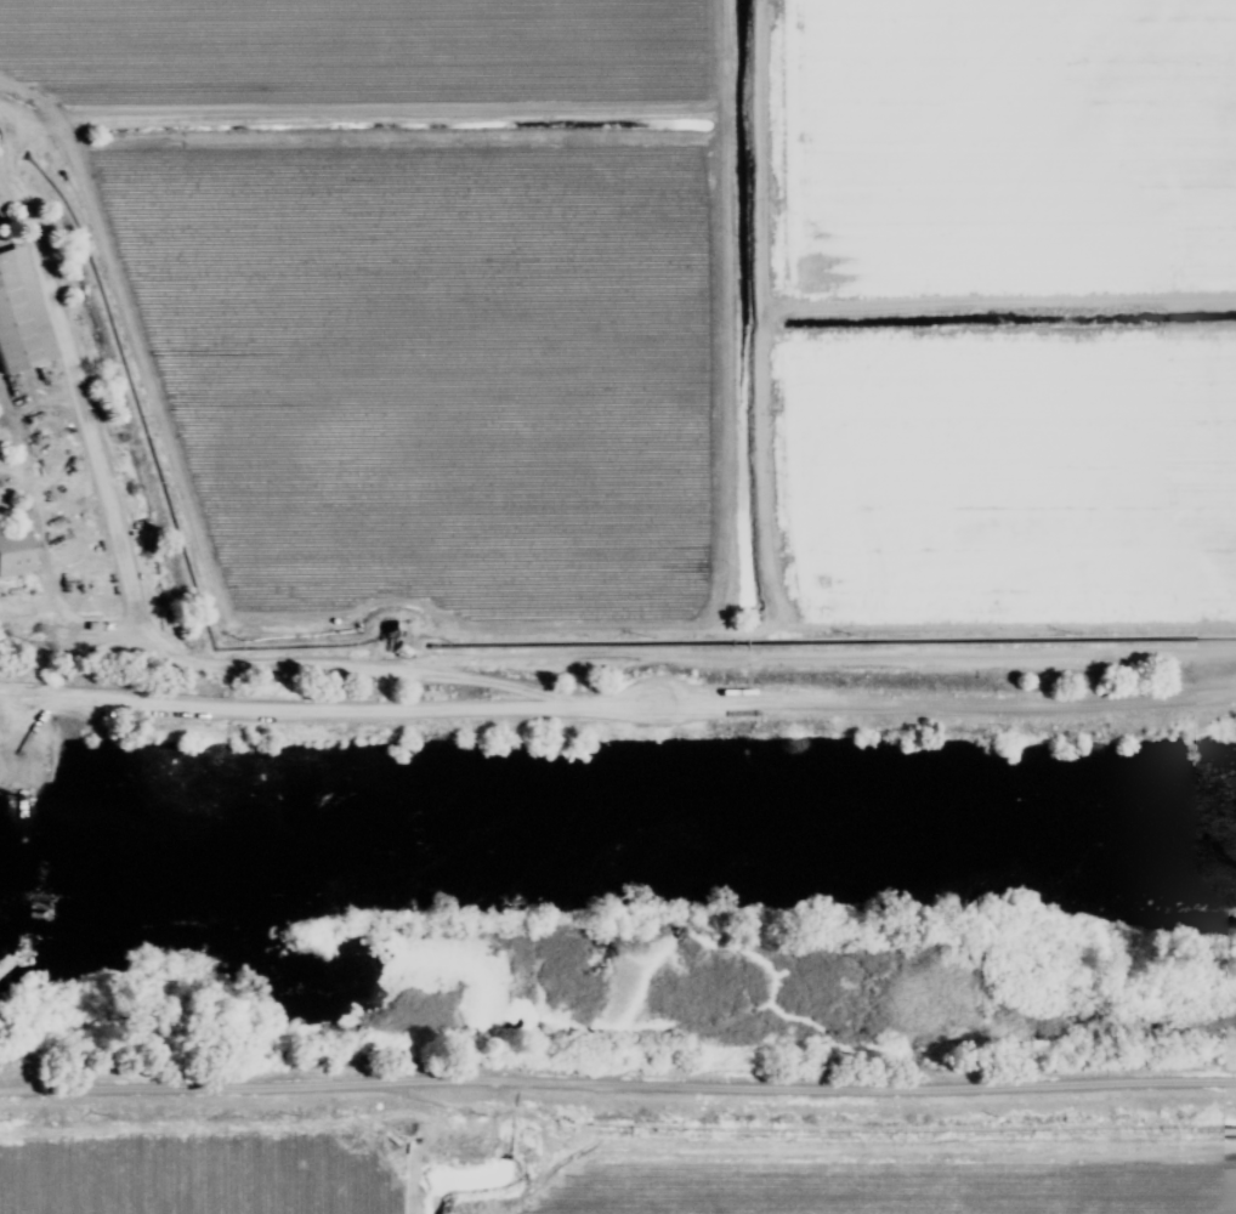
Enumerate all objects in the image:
road: (4, 140)
road: (1, 181)
building: (19, 317)
building: (13, 551)
road: (144, 623)
road: (798, 656)
road: (618, 715)
river: (617, 830)
road: (617, 1084)
road: (433, 1104)
road: (242, 1125)
crop: (652, 1172)

